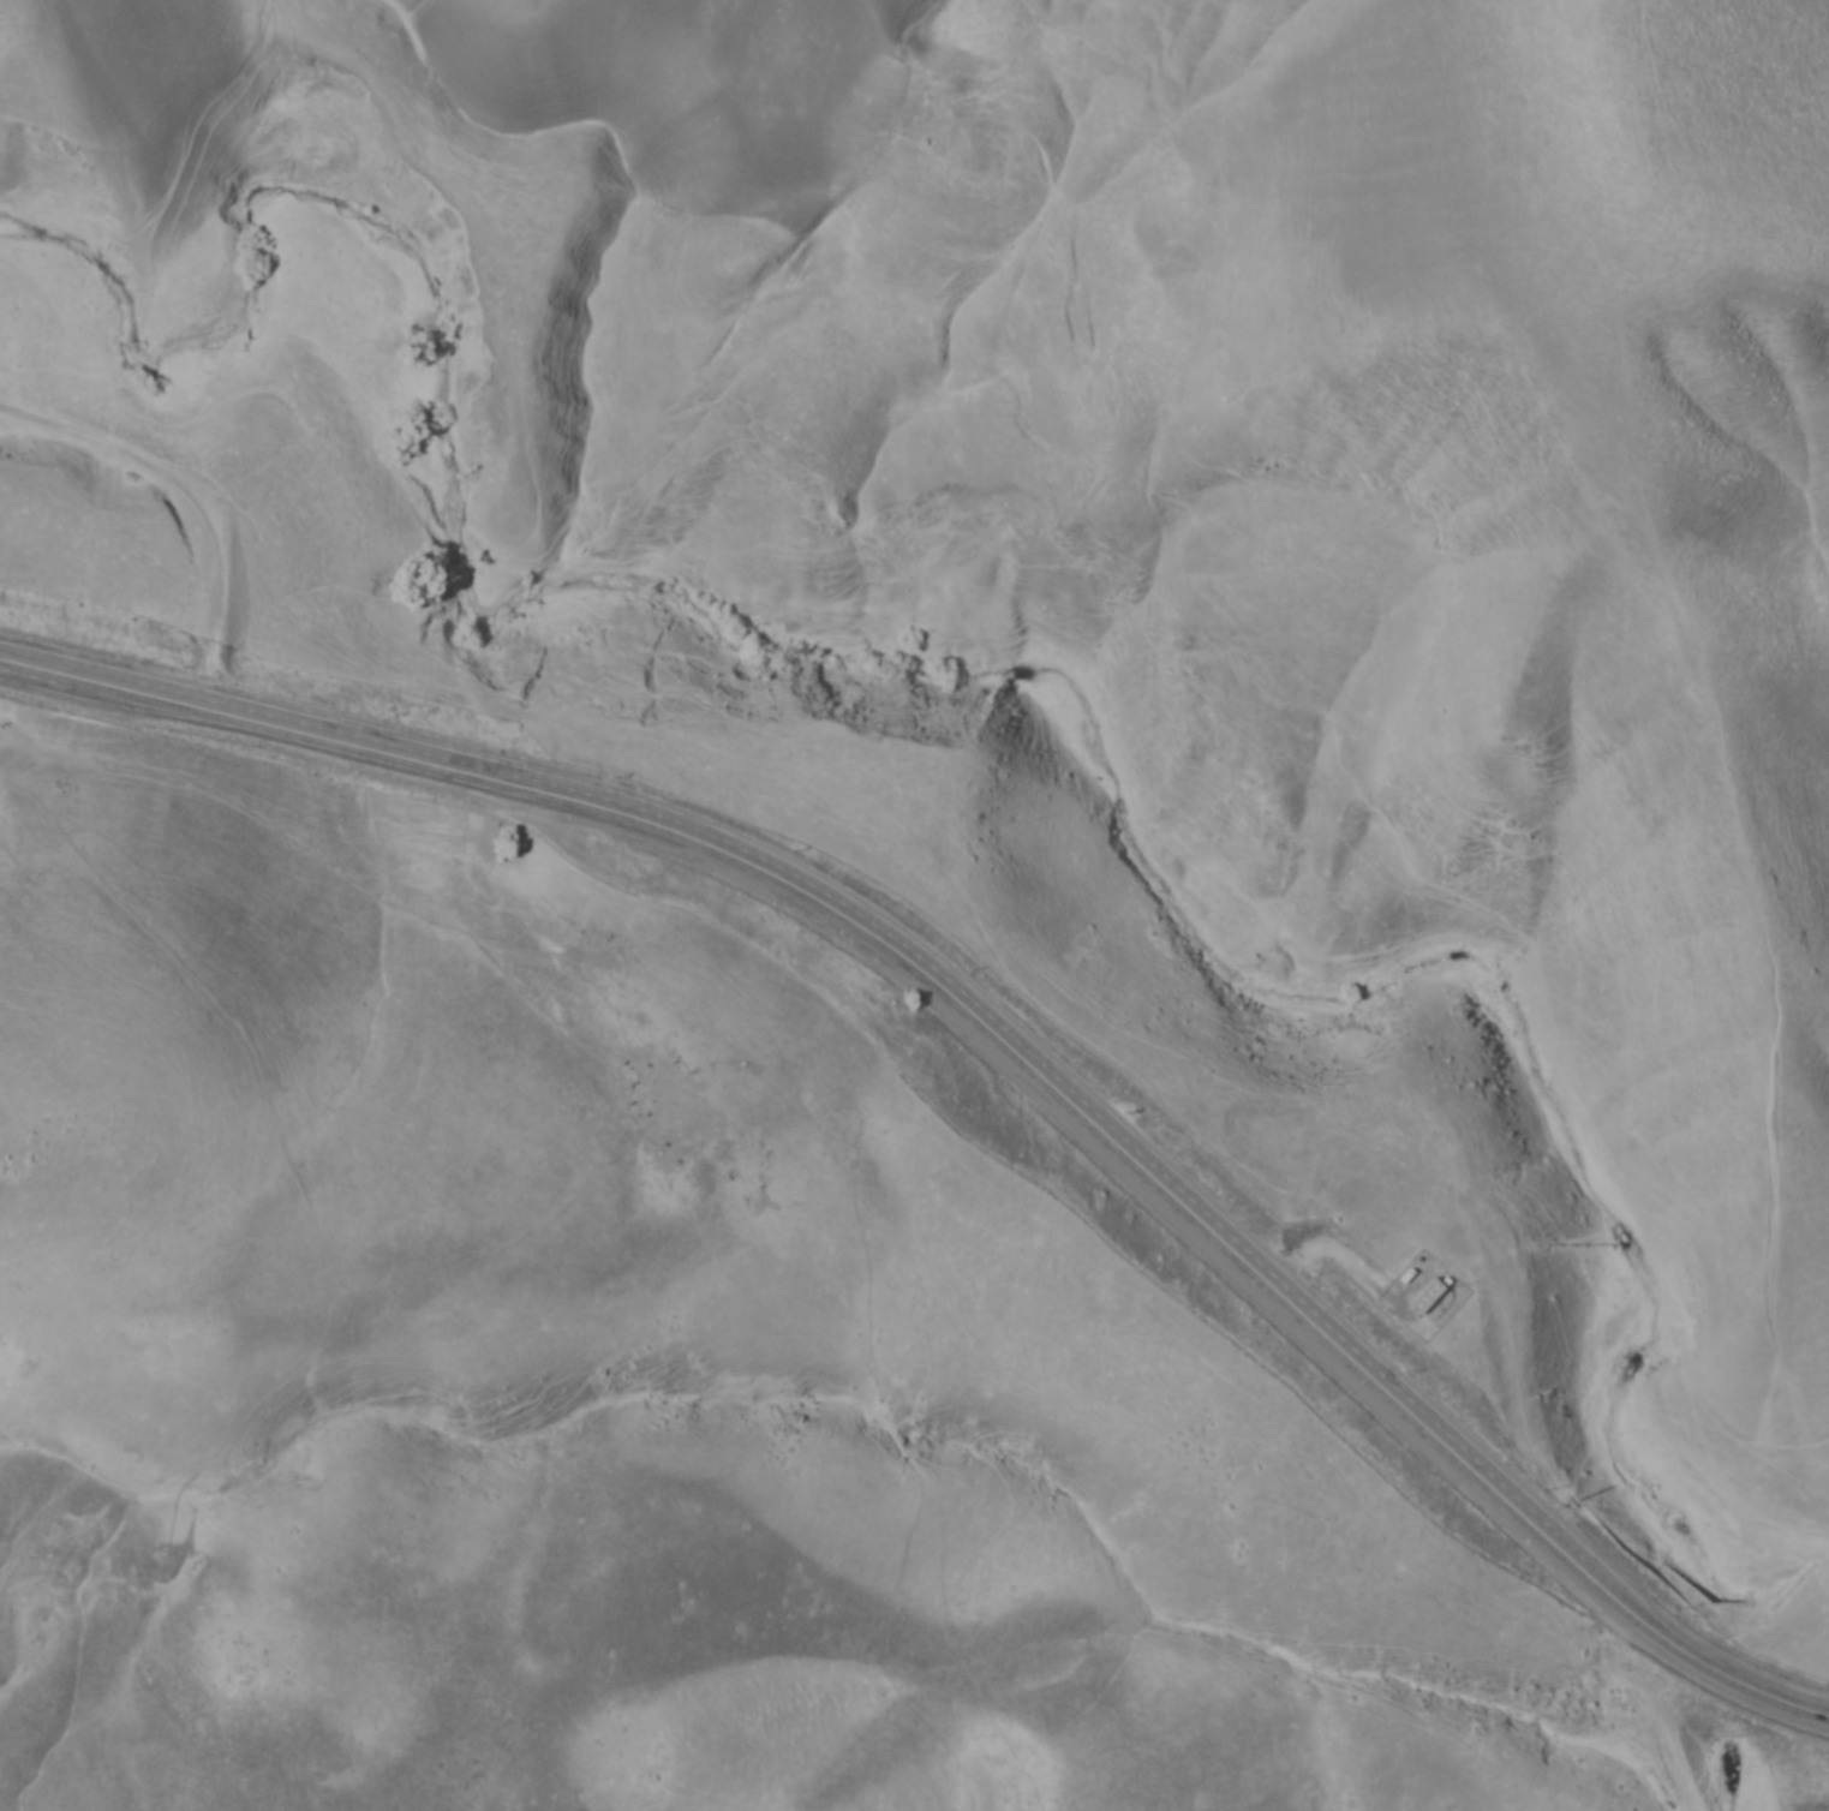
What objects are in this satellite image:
road: (180, 494)
road: (997, 1010)
building: (1425, 1296)

